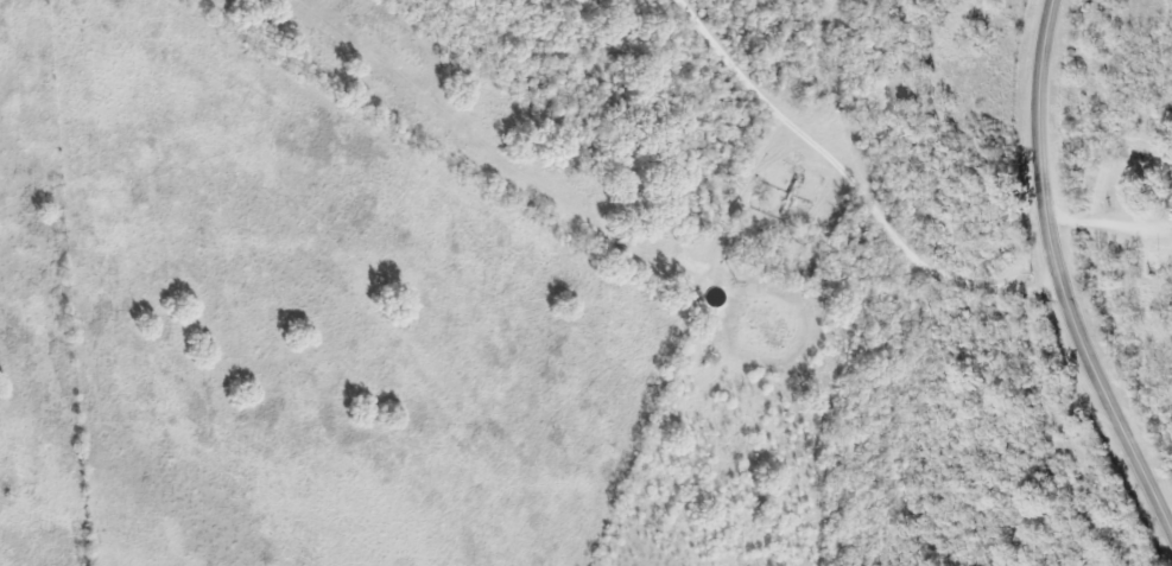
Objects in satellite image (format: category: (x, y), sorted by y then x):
road: (843, 166)
road: (1060, 274)

